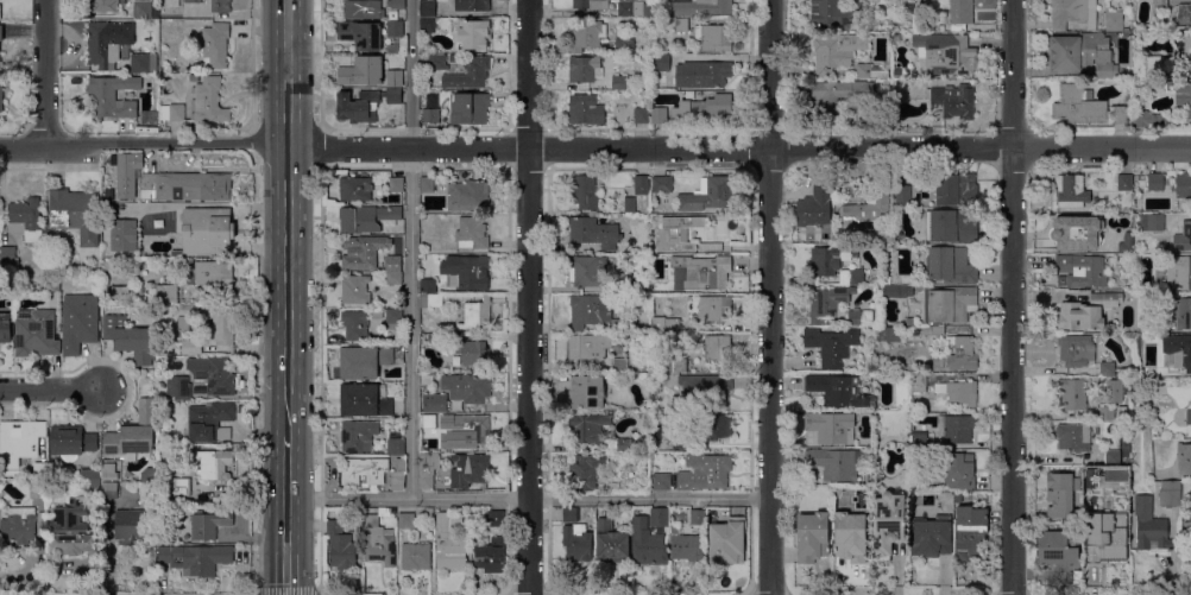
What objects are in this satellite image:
building: (193, 1)
building: (172, 4)
building: (396, 4)
building: (472, 5)
building: (591, 5)
building: (1160, 5)
building: (102, 6)
building: (220, 6)
building: (702, 7)
building: (427, 8)
building: (141, 10)
building: (363, 10)
building: (630, 10)
building: (962, 12)
building: (830, 13)
building: (1073, 13)
building: (190, 15)
building: (1184, 15)
building: (335, 17)
building: (1114, 21)
building: (926, 24)
building: (155, 25)
building: (427, 25)
building: (681, 25)
building: (395, 30)
building: (473, 31)
building: (1, 33)
building: (361, 34)
building: (586, 34)
building: (713, 38)
building: (103, 45)
building: (215, 45)
building: (624, 46)
building: (685, 49)
building: (392, 50)
building: (836, 51)
building: (1076, 51)
building: (1184, 53)
building: (944, 55)
building: (454, 58)
building: (437, 62)
road: (320, 63)
building: (661, 63)
building: (144, 64)
building: (1147, 67)
building: (584, 69)
building: (1110, 70)
building: (363, 71)
building: (870, 71)
building: (896, 72)
road: (44, 74)
building: (470, 75)
building: (701, 75)
building: (194, 77)
building: (395, 78)
building: (617, 83)
building: (1179, 89)
building: (899, 90)
building: (839, 93)
building: (1089, 95)
building: (113, 96)
building: (1, 99)
building: (209, 101)
building: (951, 102)
building: (364, 105)
building: (1077, 106)
building: (702, 108)
building: (456, 110)
building: (585, 110)
building: (171, 113)
building: (1120, 114)
building: (642, 115)
building: (658, 115)
building: (1146, 119)
road: (319, 147)
road: (594, 150)
building: (1124, 182)
building: (1155, 182)
building: (395, 184)
building: (662, 184)
building: (427, 185)
building: (641, 185)
building: (1180, 185)
building: (183, 186)
building: (355, 189)
building: (956, 190)
building: (1071, 191)
building: (584, 192)
building: (903, 194)
building: (708, 195)
building: (464, 198)
building: (630, 205)
building: (814, 207)
building: (865, 213)
building: (76, 214)
road: (288, 217)
building: (366, 219)
building: (25, 220)
building: (1151, 223)
building: (950, 226)
building: (207, 230)
building: (1077, 232)
building: (472, 233)
building: (593, 233)
building: (675, 234)
building: (122, 235)
building: (887, 236)
building: (1183, 238)
building: (708, 247)
road: (410, 249)
building: (365, 253)
building: (176, 254)
building: (830, 259)
building: (7, 260)
building: (950, 265)
building: (588, 271)
building: (1083, 271)
building: (468, 272)
building: (1179, 272)
building: (700, 273)
building: (212, 277)
building: (852, 278)
building: (393, 283)
building: (52, 284)
building: (634, 284)
building: (426, 286)
building: (38, 289)
building: (354, 290)
building: (896, 292)
building: (166, 295)
road: (528, 297)
road: (769, 297)
road: (1012, 297)
building: (430, 300)
building: (827, 302)
building: (949, 304)
building: (189, 310)
building: (713, 310)
building: (1086, 312)
building: (1183, 312)
building: (478, 314)
building: (599, 314)
building: (377, 315)
building: (393, 316)
building: (859, 318)
building: (78, 323)
building: (183, 324)
building: (222, 324)
building: (355, 325)
building: (672, 325)
building: (5, 328)
building: (933, 330)
building: (36, 334)
building: (887, 334)
building: (435, 336)
building: (128, 338)
building: (831, 346)
building: (590, 347)
building: (191, 348)
building: (718, 348)
building: (1076, 350)
building: (473, 353)
building: (962, 353)
building: (1177, 353)
building: (363, 362)
building: (619, 365)
building: (674, 366)
building: (1107, 368)
building: (213, 374)
road: (321, 379)
building: (697, 384)
building: (918, 384)
building: (178, 387)
building: (467, 387)
road: (52, 391)
building: (838, 391)
building: (1115, 391)
building: (586, 392)
building: (959, 392)
building: (1072, 393)
building: (365, 400)
building: (435, 403)
building: (1107, 413)
building: (423, 417)
building: (1189, 417)
building: (209, 422)
building: (718, 426)
building: (831, 428)
building: (954, 429)
building: (472, 431)
building: (597, 432)
building: (133, 433)
building: (358, 436)
building: (1073, 437)
building: (20, 441)
building: (919, 441)
building: (71, 442)
building: (395, 443)
building: (443, 443)
building: (681, 443)
building: (919, 454)
building: (1113, 457)
building: (1184, 458)
building: (836, 463)
building: (214, 464)
building: (477, 468)
building: (427, 469)
building: (39, 470)
building: (954, 470)
building: (364, 471)
building: (584, 471)
building: (705, 471)
building: (398, 475)
building: (89, 477)
building: (868, 477)
building: (109, 481)
building: (661, 482)
building: (1171, 487)
building: (37, 488)
building: (171, 490)
building: (1061, 494)
building: (958, 498)
road: (528, 499)
building: (1170, 500)
building: (429, 512)
road: (286, 514)
building: (569, 515)
building: (658, 518)
building: (697, 518)
building: (494, 519)
building: (405, 520)
building: (21, 524)
building: (888, 524)
building: (209, 525)
building: (130, 526)
building: (1151, 526)
building: (1187, 527)
building: (73, 530)
building: (970, 534)
building: (812, 537)
building: (850, 537)
building: (931, 537)
building: (379, 538)
building: (1104, 539)
building: (726, 542)
building: (576, 543)
building: (611, 543)
building: (449, 544)
building: (648, 544)
building: (685, 545)
building: (341, 546)
building: (1058, 547)
building: (416, 556)
building: (490, 557)
building: (195, 558)
building: (1075, 576)
road: (295, 593)

